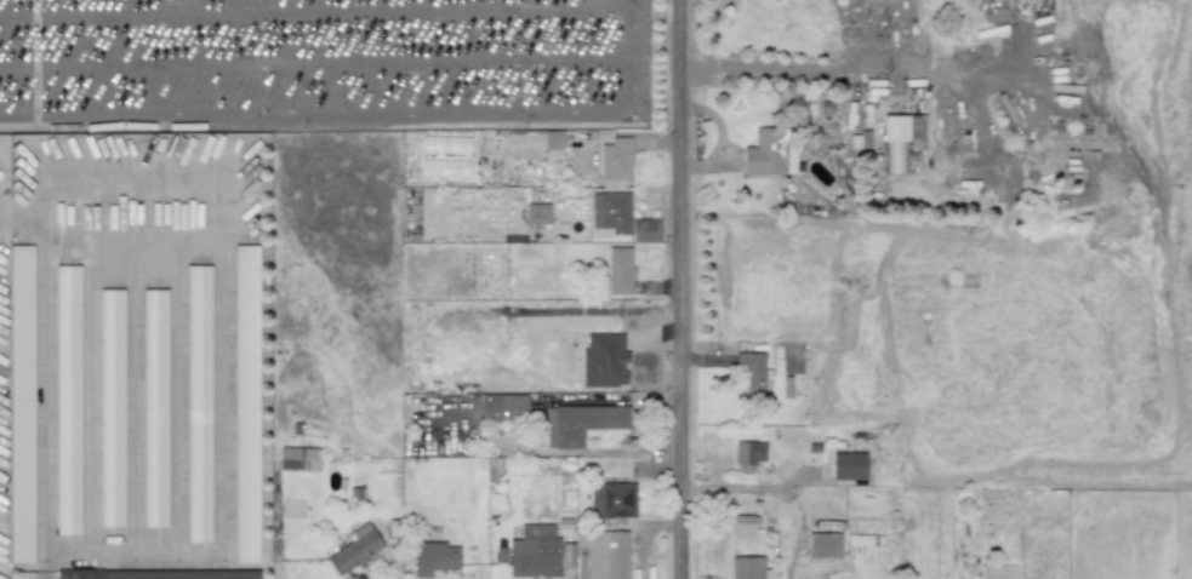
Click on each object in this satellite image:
road: (632, 0)
road: (316, 7)
road: (633, 58)
road: (316, 62)
road: (789, 68)
road: (316, 116)
building: (535, 139)
building: (899, 139)
building: (770, 153)
building: (615, 162)
building: (536, 213)
building: (621, 218)
road: (25, 223)
road: (222, 240)
building: (618, 270)
road: (681, 289)
building: (751, 372)
road: (538, 391)
road: (86, 397)
road: (130, 397)
road: (177, 399)
building: (69, 400)
building: (196, 403)
building: (244, 403)
building: (21, 405)
building: (109, 407)
building: (502, 407)
building: (153, 408)
building: (580, 423)
building: (747, 455)
building: (298, 458)
building: (848, 466)
road: (748, 487)
building: (612, 499)
building: (743, 527)
building: (823, 545)
building: (354, 549)
building: (534, 552)
building: (606, 555)
building: (433, 557)
building: (582, 567)
road: (45, 568)
building: (746, 568)
building: (158, 574)

